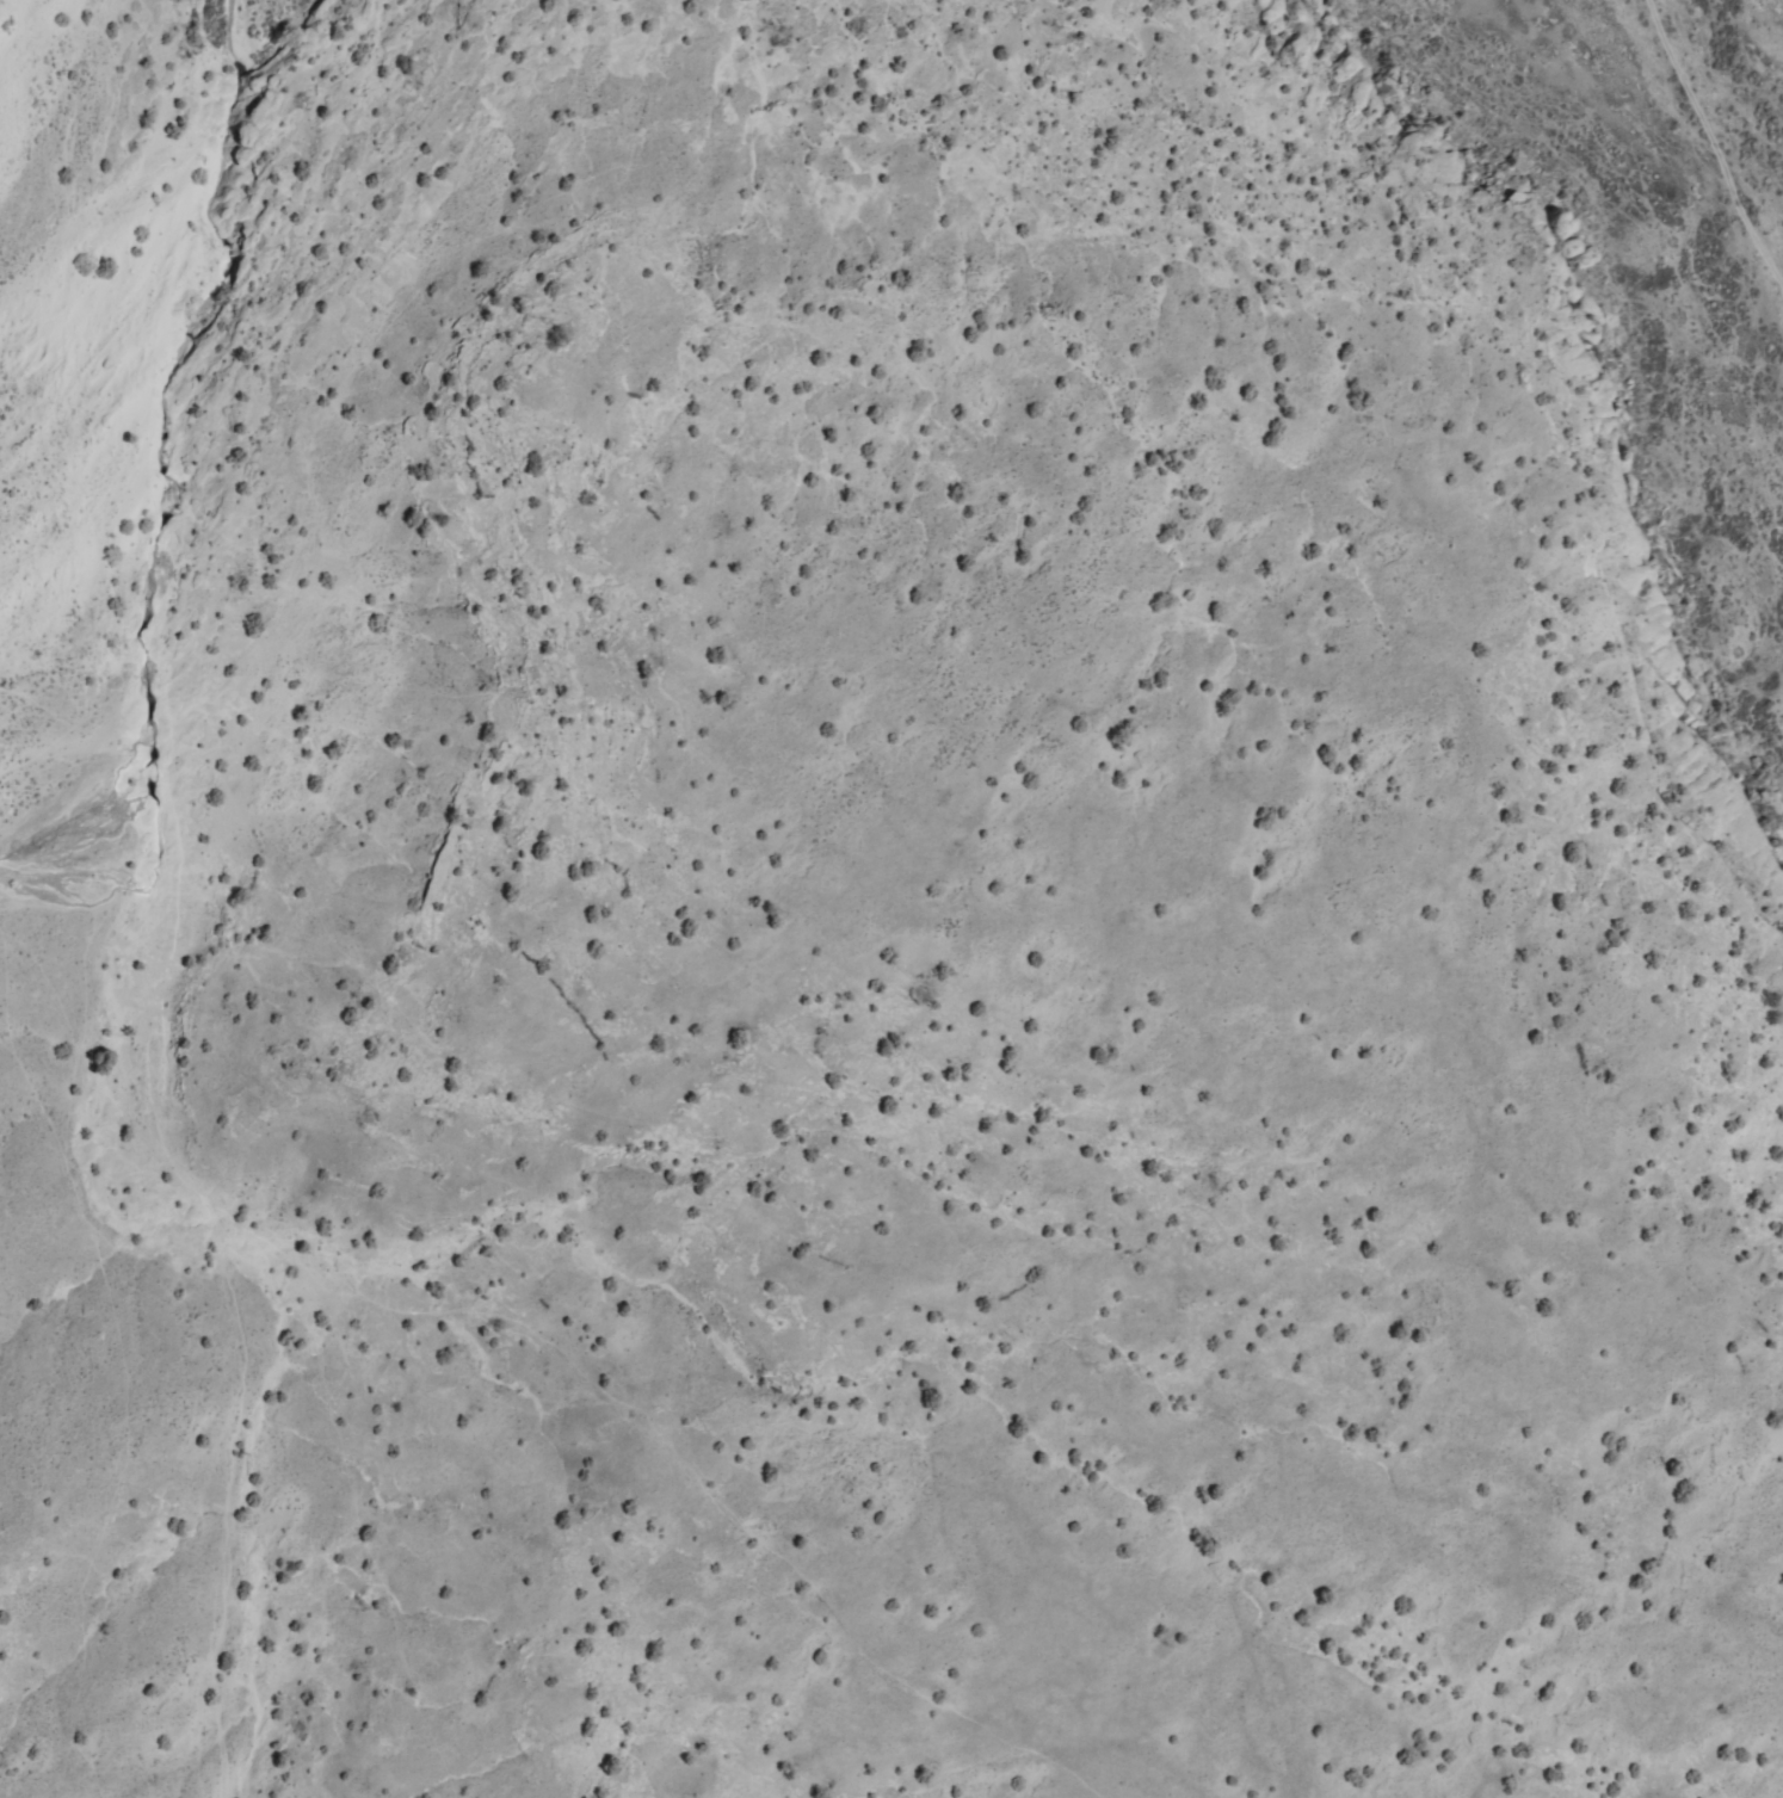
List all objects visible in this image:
river: (1702, 138)
road: (38, 1674)

